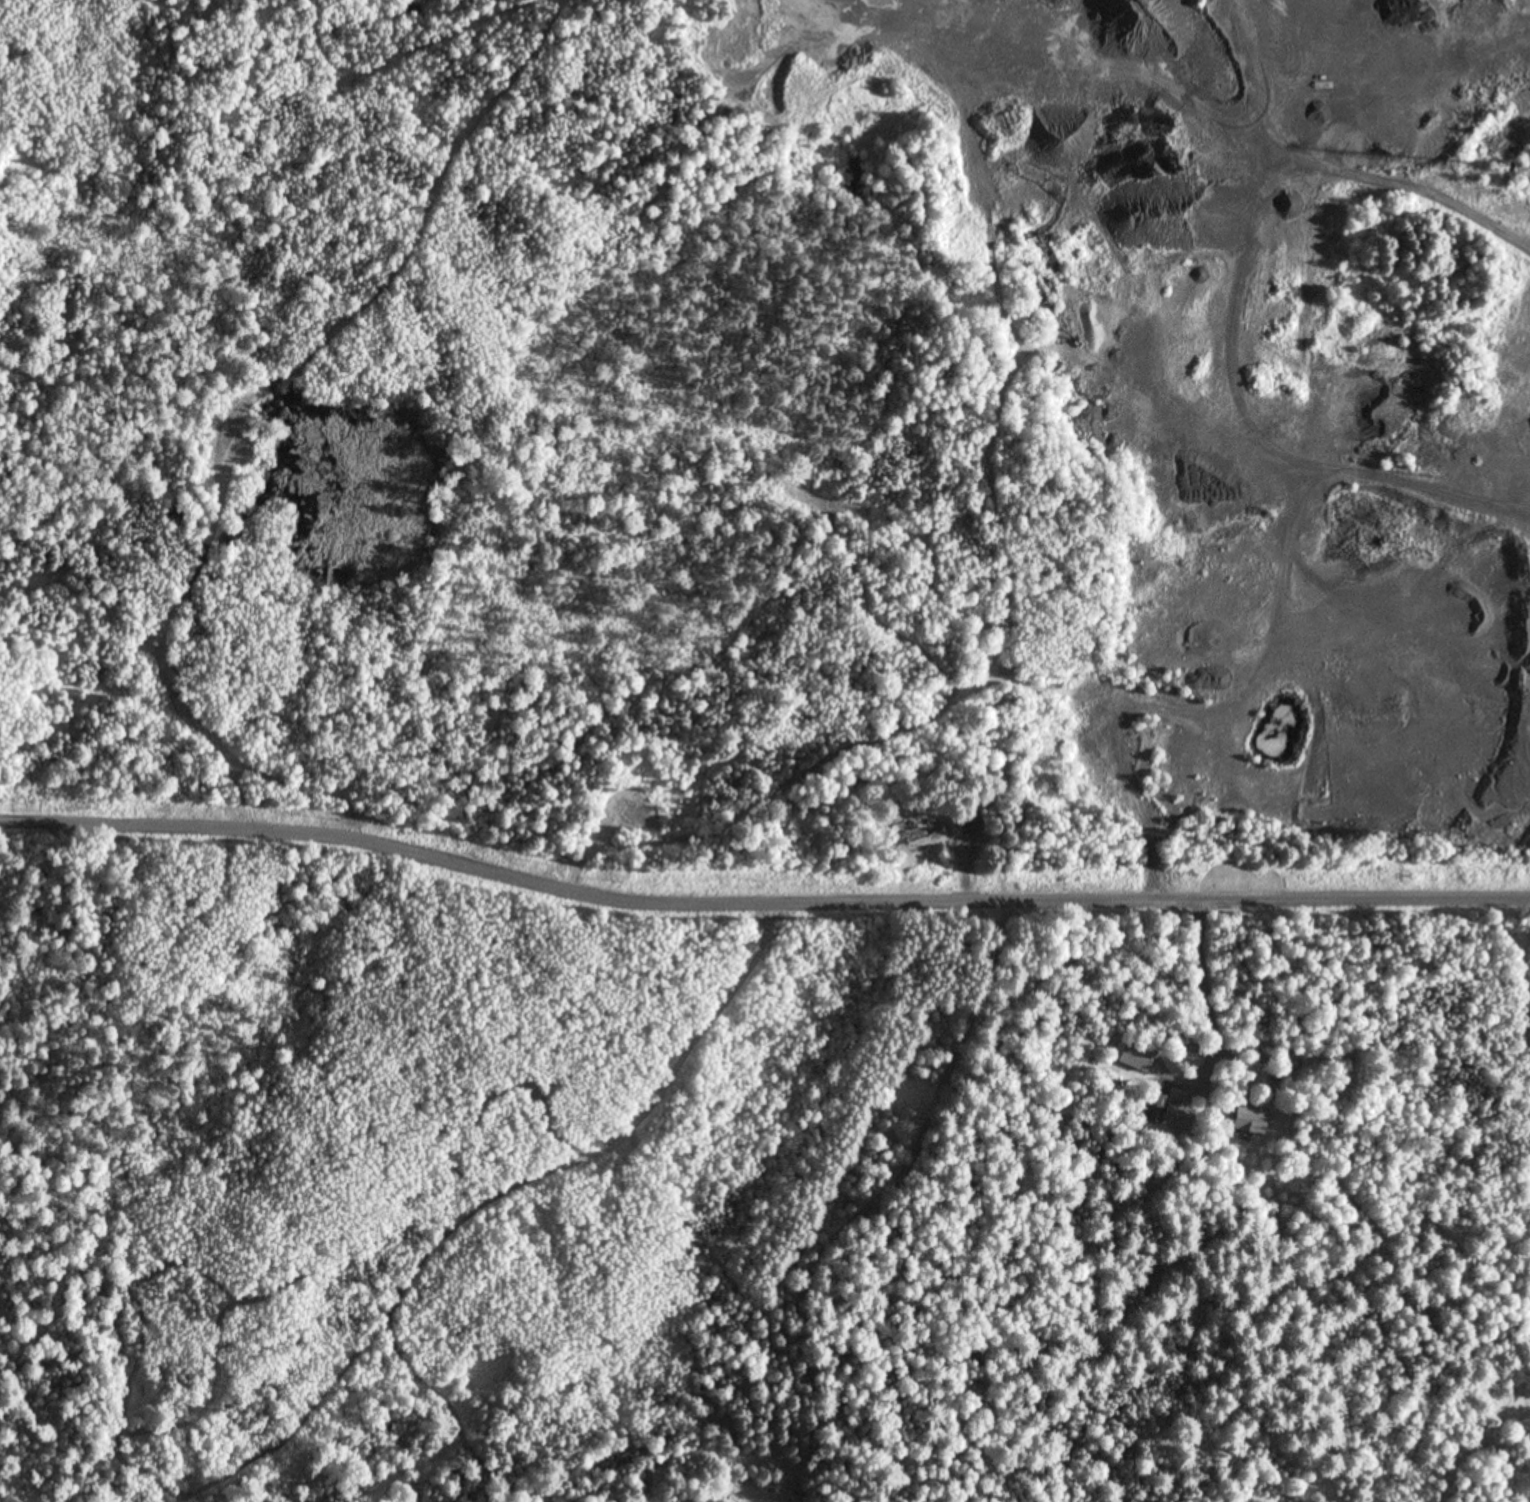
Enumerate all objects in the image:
quarry: (1248, 365)
building: (967, 823)
building: (917, 829)
road: (760, 904)
building: (1134, 1056)
building: (1177, 1117)
building: (1248, 1118)

